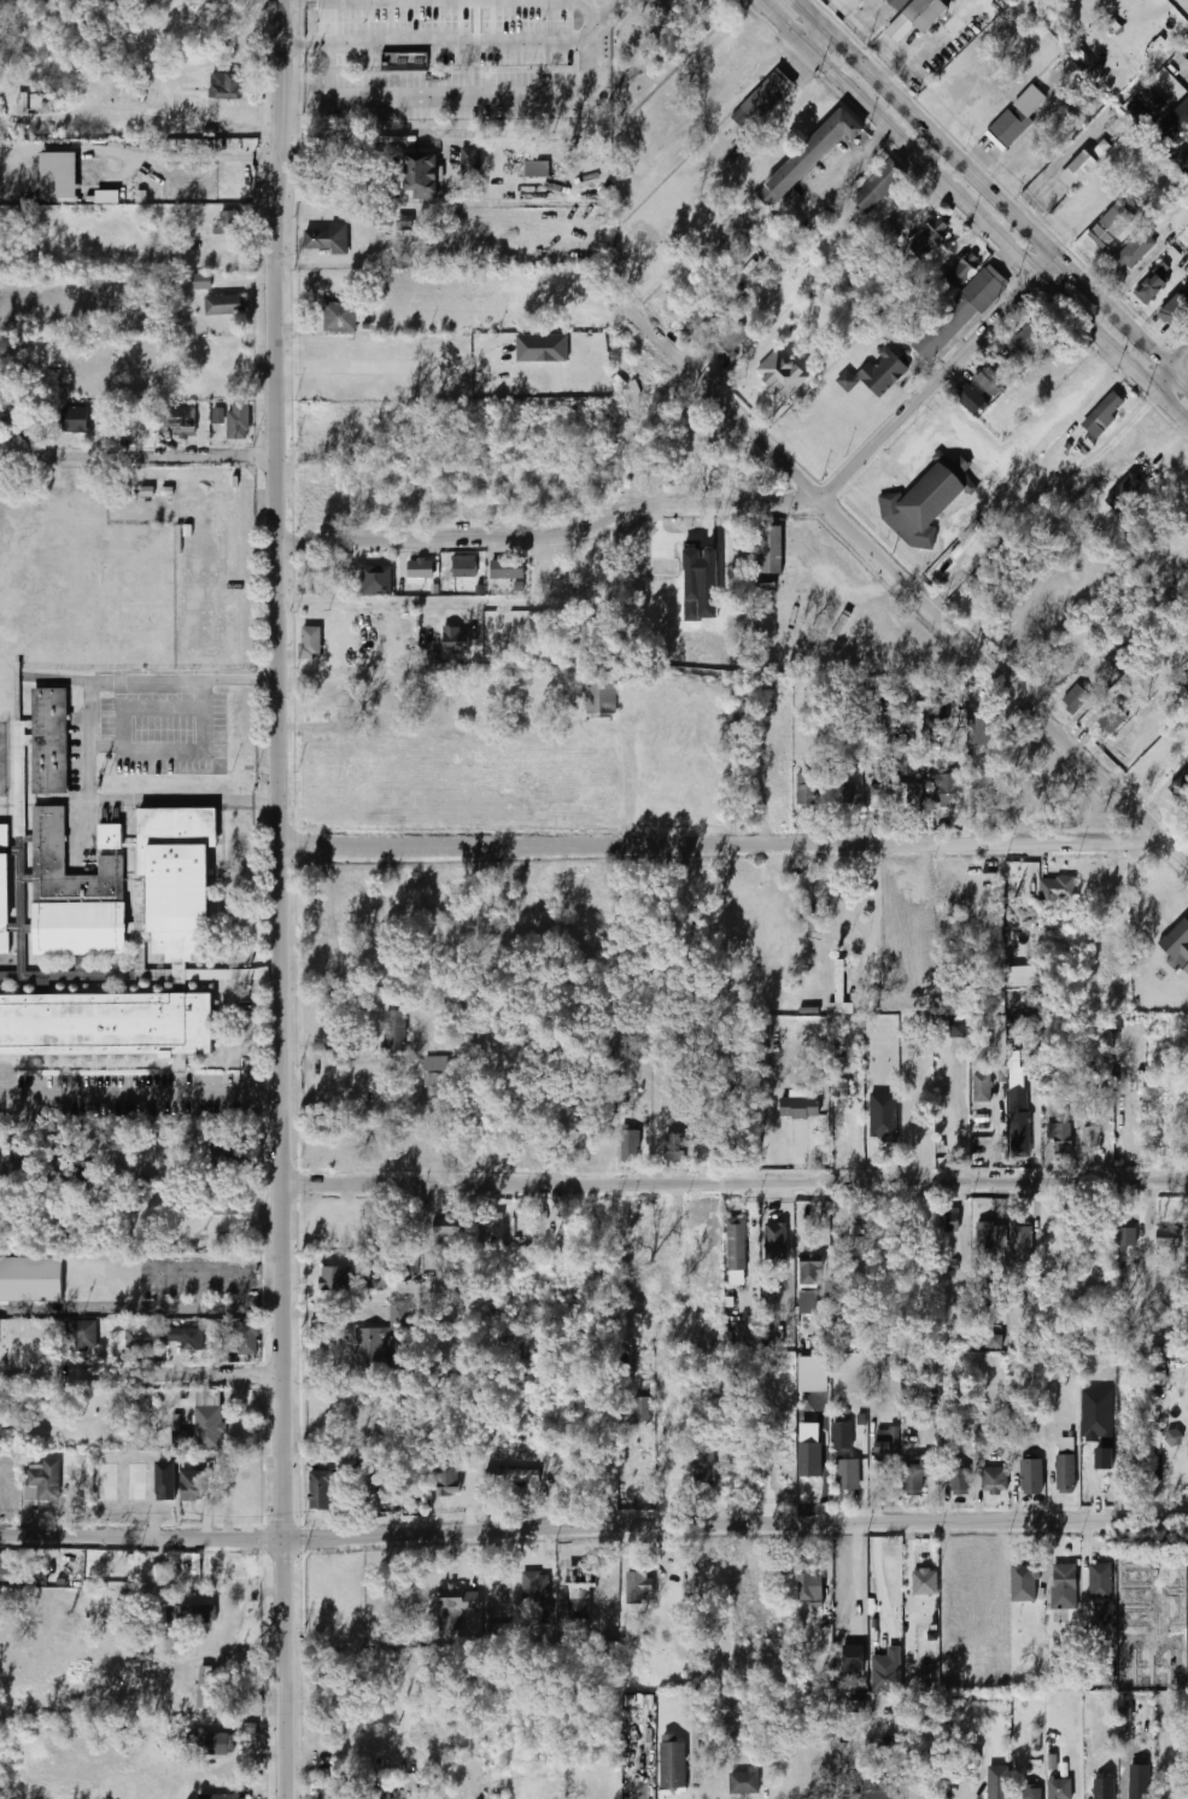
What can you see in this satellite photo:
building: (899, 2)
road: (601, 12)
building: (917, 18)
road: (496, 39)
road: (818, 39)
road: (587, 59)
building: (404, 62)
building: (224, 86)
road: (438, 94)
building: (762, 100)
building: (1153, 100)
building: (1029, 101)
building: (46, 103)
building: (22, 104)
building: (1140, 113)
building: (1177, 121)
building: (1007, 128)
building: (809, 156)
building: (1180, 156)
building: (468, 159)
road: (562, 160)
building: (1083, 164)
road: (845, 165)
building: (1025, 167)
building: (537, 169)
building: (59, 175)
building: (421, 176)
road: (983, 183)
road: (521, 185)
road: (368, 187)
building: (877, 187)
road: (955, 192)
building: (107, 198)
building: (384, 217)
building: (228, 222)
building: (1111, 226)
building: (324, 239)
building: (929, 239)
building: (1131, 252)
building: (1187, 252)
building: (962, 270)
building: (200, 281)
building: (1151, 287)
building: (224, 304)
building: (1176, 310)
building: (958, 314)
building: (701, 316)
building: (339, 317)
building: (1029, 335)
building: (730, 340)
building: (543, 347)
road: (1176, 358)
road: (390, 366)
building: (876, 373)
building: (782, 375)
road: (937, 378)
building: (989, 380)
road: (1157, 381)
road: (1176, 382)
road: (1099, 398)
building: (971, 401)
road: (1167, 410)
building: (1104, 413)
building: (220, 415)
building: (238, 421)
building: (185, 422)
building: (82, 427)
building: (19, 430)
road: (135, 455)
building: (1123, 492)
building: (926, 501)
building: (1187, 504)
road: (549, 535)
building: (769, 549)
building: (420, 570)
building: (507, 570)
building: (455, 571)
building: (376, 580)
building: (701, 582)
road: (908, 586)
road: (374, 601)
building: (455, 641)
building: (309, 643)
building: (1119, 658)
building: (1186, 685)
building: (943, 687)
building: (602, 688)
building: (1073, 699)
building: (1113, 719)
building: (886, 725)
building: (983, 728)
building: (49, 738)
road: (90, 741)
building: (21, 770)
building: (1181, 784)
road: (626, 787)
building: (807, 790)
building: (950, 792)
building: (842, 794)
building: (918, 795)
building: (880, 796)
road: (75, 827)
road: (718, 843)
building: (176, 876)
building: (4, 888)
building: (76, 890)
building: (1054, 892)
road: (276, 899)
road: (878, 899)
building: (1177, 945)
building: (839, 981)
building: (105, 1023)
building: (394, 1024)
building: (950, 1029)
building: (983, 1087)
building: (841, 1090)
road: (137, 1092)
building: (800, 1108)
building: (884, 1116)
road: (965, 1117)
building: (1019, 1123)
building: (1059, 1140)
building: (1090, 1141)
building: (631, 1144)
building: (674, 1150)
road: (732, 1184)
building: (949, 1221)
building: (445, 1227)
building: (1020, 1238)
building: (1126, 1238)
building: (1167, 1238)
building: (774, 1244)
building: (988, 1246)
building: (736, 1248)
building: (810, 1277)
building: (30, 1279)
building: (374, 1279)
building: (334, 1280)
building: (80, 1337)
building: (187, 1338)
building: (988, 1338)
building: (136, 1339)
building: (247, 1339)
building: (376, 1347)
building: (814, 1374)
road: (139, 1375)
building: (642, 1408)
building: (209, 1427)
building: (181, 1437)
building: (983, 1437)
building: (1174, 1437)
building: (810, 1449)
building: (844, 1454)
building: (885, 1456)
building: (704, 1468)
building: (1065, 1473)
building: (511, 1474)
building: (1031, 1476)
building: (914, 1477)
building: (449, 1479)
building: (165, 1480)
building: (994, 1480)
building: (109, 1482)
building: (137, 1482)
building: (960, 1482)
building: (42, 1483)
building: (191, 1486)
building: (318, 1490)
road: (593, 1525)
building: (4, 1567)
building: (34, 1575)
road: (880, 1581)
building: (925, 1582)
building: (1100, 1582)
building: (1024, 1583)
building: (534, 1584)
building: (638, 1585)
building: (813, 1585)
building: (1065, 1587)
building: (580, 1591)
building: (1164, 1591)
building: (458, 1599)
building: (191, 1614)
building: (888, 1671)
building: (205, 1687)
building: (212, 1742)
building: (673, 1765)
building: (744, 1782)
building: (999, 1782)
building: (1105, 1788)
building: (1060, 1789)
building: (347, 1793)
building: (1032, 1793)
building: (1140, 1793)
building: (882, 1795)
building: (222, 1797)

